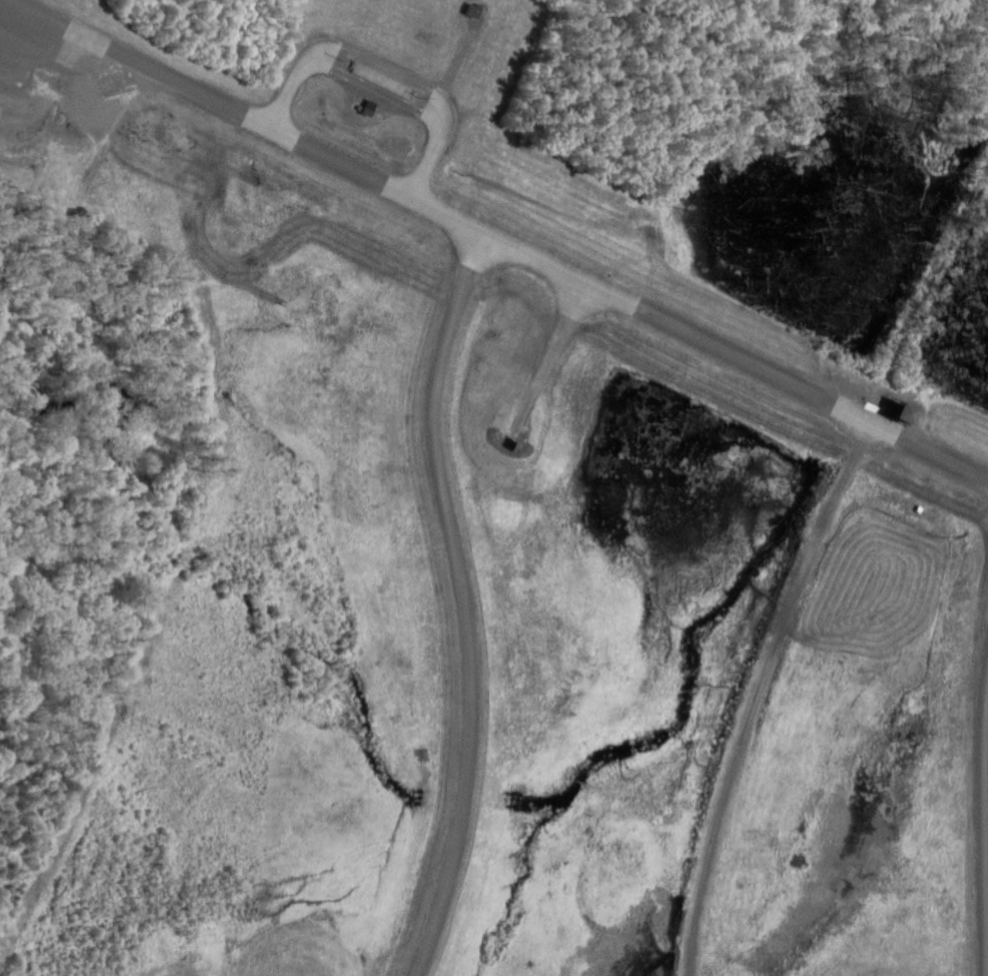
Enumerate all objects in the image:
road: (497, 240)
road: (763, 694)
road: (986, 813)

